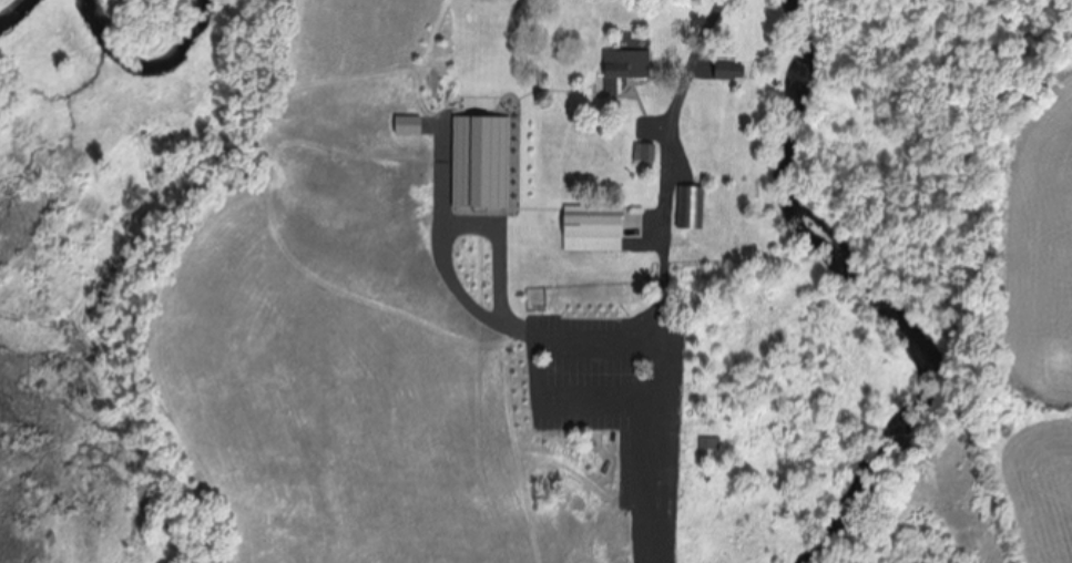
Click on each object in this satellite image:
building: (623, 68)
building: (728, 72)
road: (663, 105)
building: (644, 152)
building: (691, 207)
building: (591, 232)
building: (708, 444)

